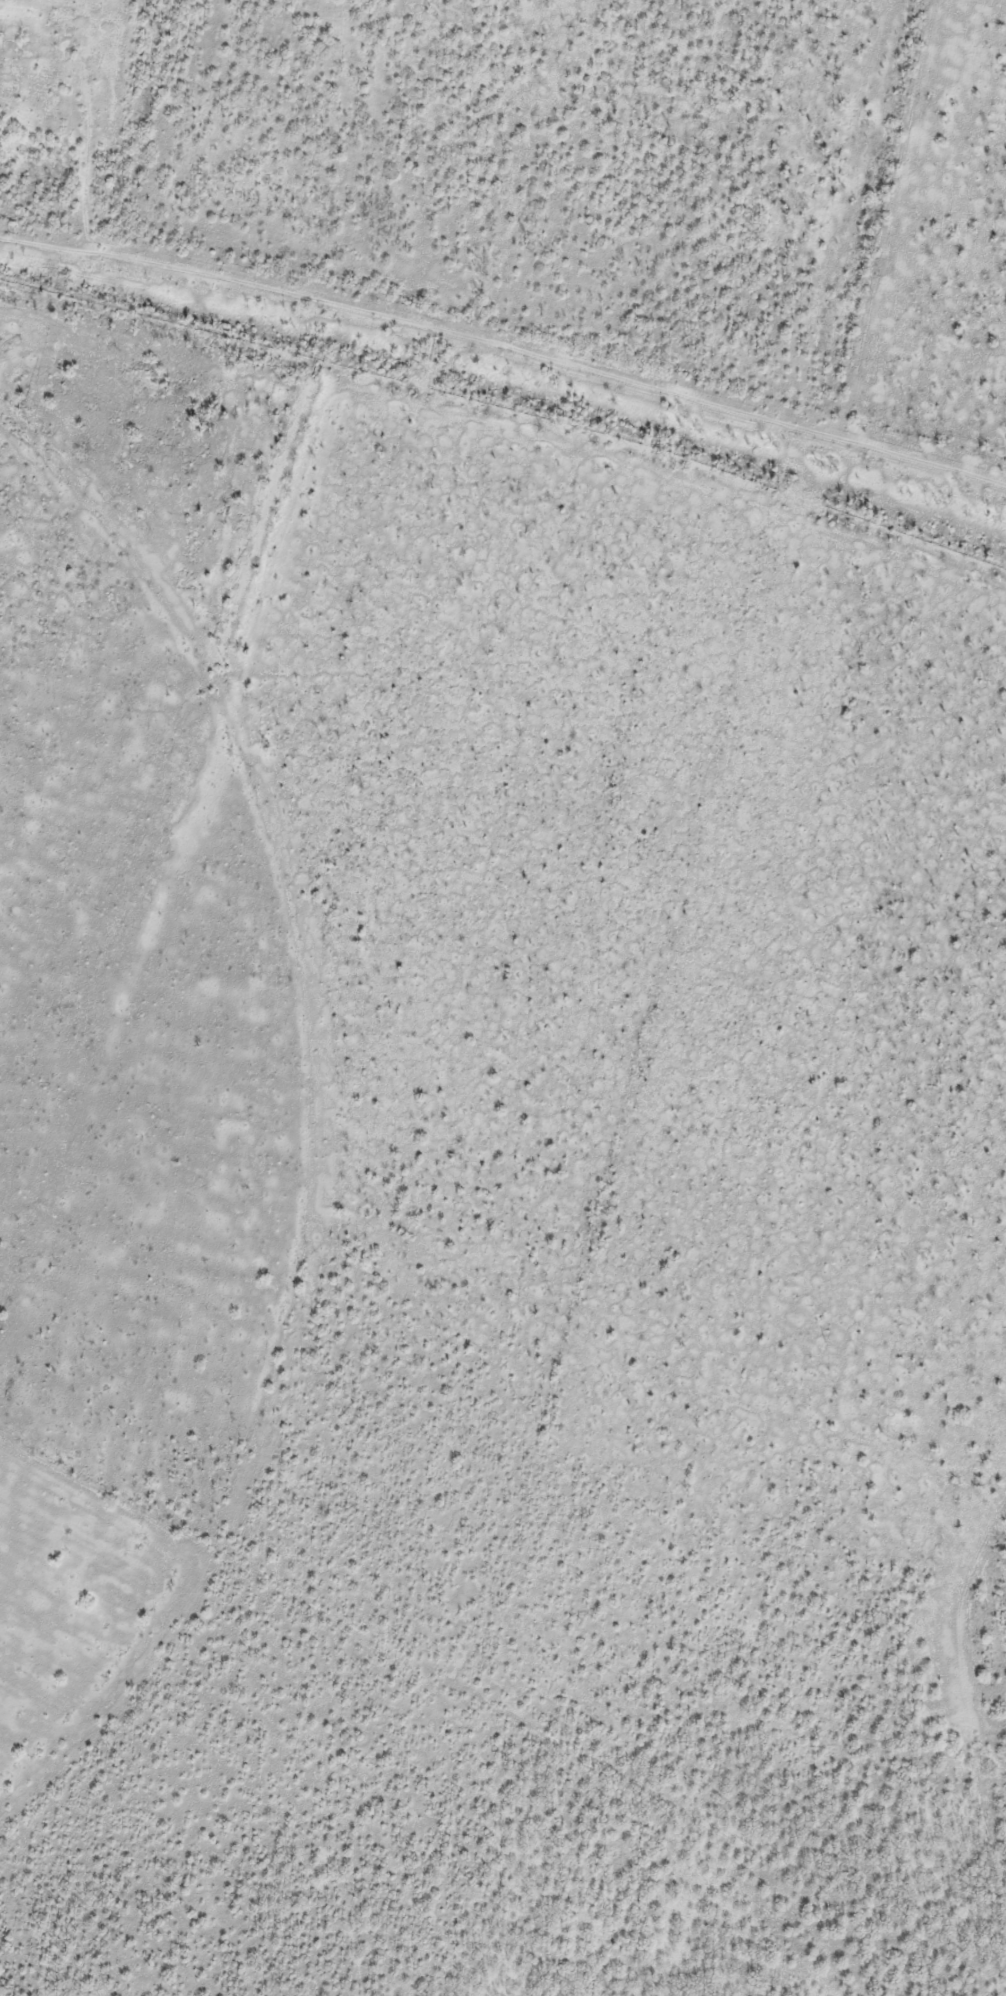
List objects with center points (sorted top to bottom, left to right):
road: (506, 344)

